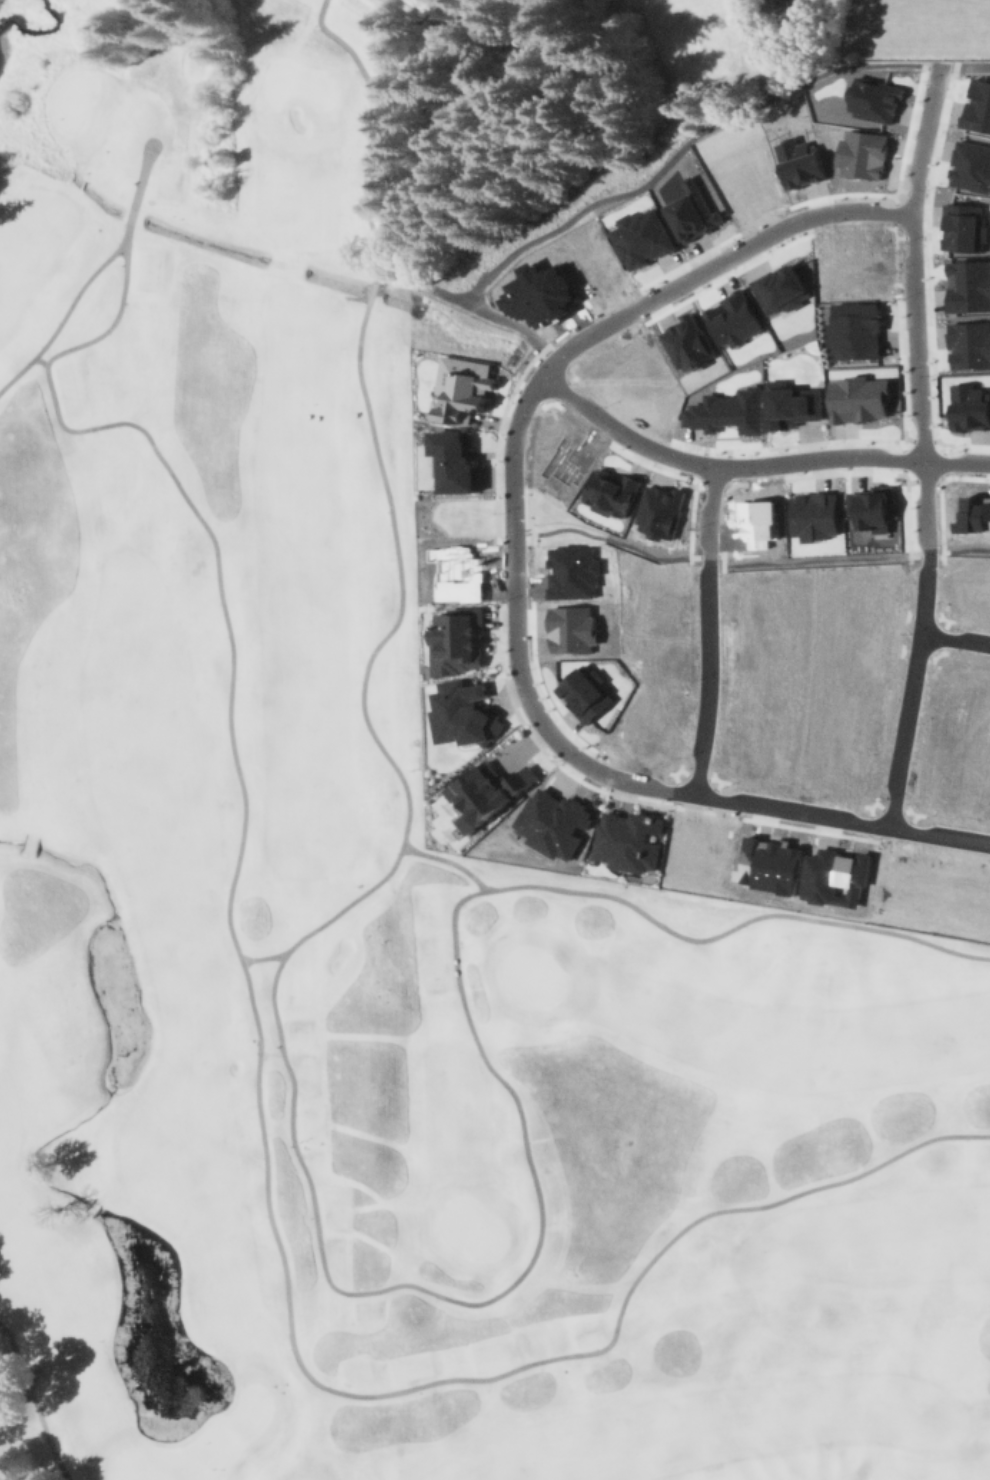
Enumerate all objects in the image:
building: (780, 5)
road: (964, 65)
building: (875, 100)
building: (978, 108)
road: (377, 131)
road: (682, 143)
building: (863, 155)
building: (799, 162)
building: (971, 167)
road: (914, 191)
road: (898, 210)
road: (770, 214)
building: (694, 215)
building: (965, 228)
road: (911, 237)
building: (642, 240)
road: (724, 257)
building: (849, 265)
road: (928, 276)
road: (89, 277)
building: (969, 286)
building: (782, 289)
road: (369, 293)
building: (539, 294)
road: (490, 313)
building: (736, 321)
building: (858, 331)
building: (688, 343)
building: (970, 346)
road: (557, 358)
road: (40, 360)
building: (459, 388)
road: (562, 389)
road: (528, 395)
building: (860, 399)
building: (790, 405)
building: (969, 407)
building: (725, 410)
road: (517, 427)
road: (646, 427)
road: (921, 438)
road: (922, 442)
road: (904, 457)
road: (946, 460)
building: (449, 461)
building: (564, 462)
road: (701, 464)
road: (753, 464)
road: (731, 467)
road: (923, 481)
road: (711, 487)
building: (610, 491)
road: (708, 503)
building: (873, 508)
building: (659, 509)
building: (813, 516)
building: (974, 516)
building: (756, 521)
road: (602, 536)
road: (941, 549)
road: (966, 549)
road: (705, 555)
road: (925, 555)
road: (814, 561)
building: (572, 571)
building: (451, 572)
building: (973, 584)
building: (649, 589)
building: (865, 594)
building: (757, 596)
road: (922, 616)
building: (570, 626)
road: (938, 635)
road: (954, 639)
building: (453, 640)
building: (649, 642)
building: (762, 649)
road: (917, 652)
building: (854, 656)
road: (931, 659)
road: (707, 669)
building: (586, 693)
building: (962, 695)
road: (891, 698)
building: (459, 714)
building: (753, 751)
road: (557, 763)
road: (666, 771)
road: (697, 772)
road: (648, 787)
road: (678, 790)
building: (483, 792)
road: (716, 796)
road: (892, 804)
road: (871, 822)
building: (554, 823)
road: (988, 825)
road: (912, 829)
building: (627, 840)
building: (698, 851)
road: (446, 860)
building: (769, 865)
building: (835, 874)
park: (379, 899)
road: (262, 958)
road: (260, 1126)
road: (373, 1289)
road: (38, 1400)

